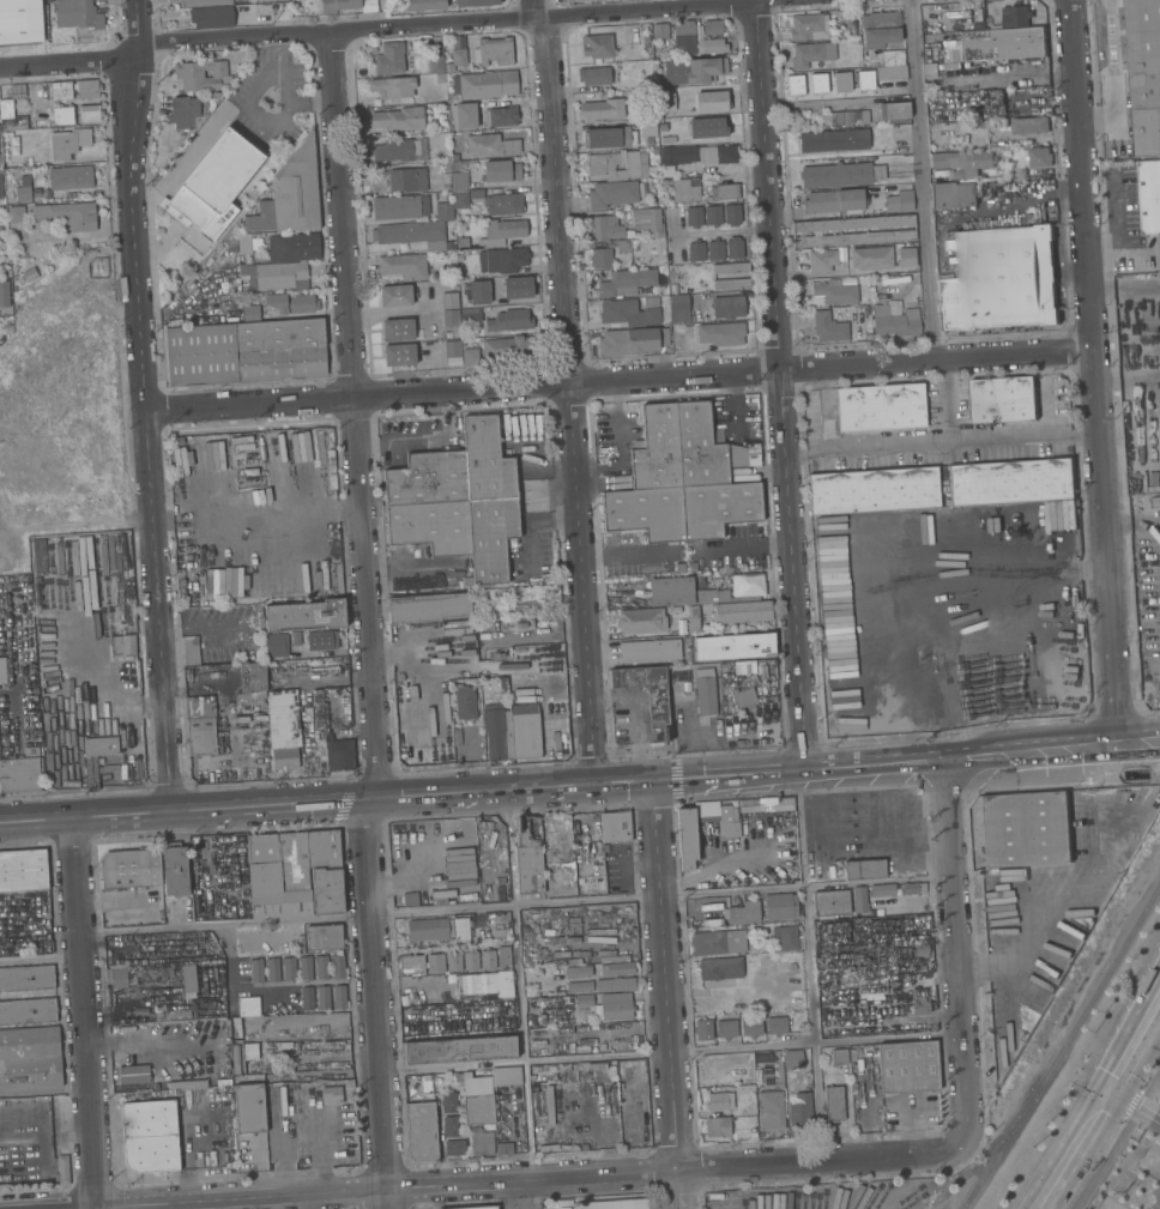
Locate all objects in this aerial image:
building: (574, 0)
building: (200, 2)
building: (475, 2)
building: (337, 5)
building: (424, 5)
building: (77, 14)
building: (1016, 16)
building: (211, 18)
building: (20, 22)
road: (379, 26)
building: (712, 28)
building: (808, 28)
building: (880, 29)
building: (660, 31)
building: (683, 40)
building: (645, 41)
building: (1004, 44)
building: (597, 47)
building: (711, 47)
building: (493, 52)
building: (811, 55)
building: (458, 58)
building: (893, 58)
building: (389, 59)
building: (435, 65)
building: (694, 71)
building: (890, 73)
road: (1114, 73)
building: (1144, 73)
building: (200, 75)
building: (593, 77)
building: (865, 80)
building: (841, 81)
building: (817, 84)
building: (484, 85)
building: (795, 85)
building: (392, 87)
building: (87, 90)
building: (61, 91)
building: (17, 92)
parking lot: (272, 95)
building: (712, 102)
building: (665, 103)
road: (809, 105)
building: (602, 109)
building: (183, 113)
building: (894, 113)
building: (89, 114)
building: (62, 116)
building: (463, 116)
building: (860, 116)
building: (11, 117)
building: (500, 117)
building: (836, 119)
building: (399, 120)
building: (1029, 126)
building: (648, 127)
building: (708, 128)
building: (443, 129)
building: (609, 138)
building: (667, 140)
building: (833, 141)
building: (66, 144)
building: (489, 146)
building: (400, 151)
building: (699, 156)
building: (453, 157)
building: (1039, 157)
building: (28, 162)
building: (965, 162)
building: (642, 164)
building: (612, 165)
building: (501, 171)
building: (840, 175)
building: (955, 175)
building: (71, 179)
building: (407, 180)
building: (445, 180)
building: (460, 180)
road: (919, 181)
building: (664, 183)
building: (0, 186)
building: (213, 186)
building: (23, 189)
building: (875, 189)
road: (555, 191)
building: (685, 191)
building: (723, 192)
building: (612, 194)
building: (290, 195)
building: (954, 195)
building: (1149, 197)
building: (465, 198)
building: (833, 201)
building: (899, 202)
building: (503, 205)
building: (399, 207)
building: (443, 211)
building: (16, 214)
building: (68, 216)
road: (342, 216)
building: (713, 216)
building: (732, 216)
building: (694, 217)
building: (648, 220)
building: (852, 224)
building: (605, 229)
building: (501, 232)
building: (413, 236)
building: (853, 238)
building: (246, 242)
building: (622, 246)
building: (294, 248)
building: (735, 248)
building: (714, 250)
building: (696, 252)
building: (871, 258)
building: (906, 258)
building: (600, 259)
building: (501, 261)
building: (821, 261)
building: (404, 266)
building: (730, 268)
building: (30, 274)
building: (279, 276)
building: (895, 279)
building: (999, 279)
building: (626, 283)
building: (730, 284)
building: (516, 288)
building: (835, 292)
building: (4, 294)
building: (478, 294)
building: (395, 296)
building: (448, 301)
building: (651, 302)
building: (291, 303)
building: (727, 307)
building: (679, 310)
building: (250, 313)
building: (469, 314)
building: (628, 314)
building: (451, 319)
building: (8, 320)
building: (509, 321)
building: (895, 322)
building: (828, 327)
building: (8, 328)
building: (397, 330)
building: (721, 334)
building: (632, 341)
building: (508, 349)
building: (452, 350)
building: (244, 352)
building: (399, 355)
building: (470, 357)
road: (1092, 374)
road: (618, 381)
road: (779, 387)
building: (1004, 400)
road: (146, 406)
building: (880, 409)
road: (960, 441)
building: (679, 480)
building: (1011, 482)
building: (874, 491)
building: (458, 501)
road: (280, 509)
road: (744, 544)
road: (624, 552)
building: (694, 566)
building: (681, 567)
road: (584, 585)
building: (748, 590)
building: (667, 592)
building: (614, 604)
building: (428, 607)
building: (701, 607)
building: (742, 612)
building: (306, 616)
building: (693, 619)
building: (640, 621)
road: (201, 629)
building: (295, 639)
building: (321, 640)
building: (121, 645)
building: (276, 645)
building: (733, 647)
building: (191, 651)
building: (650, 652)
building: (724, 667)
building: (2, 672)
building: (252, 677)
building: (685, 687)
building: (705, 693)
building: (439, 694)
building: (249, 696)
building: (743, 700)
building: (464, 702)
building: (657, 709)
building: (200, 726)
building: (283, 730)
building: (497, 732)
building: (525, 732)
road: (1137, 746)
building: (339, 756)
building: (91, 774)
building: (19, 775)
road: (644, 782)
building: (761, 803)
road: (369, 804)
road: (86, 818)
building: (615, 827)
building: (729, 829)
building: (1026, 830)
building: (605, 848)
building: (527, 856)
building: (23, 870)
building: (131, 870)
building: (863, 870)
building: (175, 871)
building: (325, 872)
building: (292, 875)
building: (264, 876)
building: (912, 889)
building: (882, 890)
building: (410, 899)
building: (859, 901)
building: (830, 903)
building: (779, 906)
road: (515, 907)
building: (744, 913)
building: (428, 930)
building: (460, 932)
building: (497, 933)
building: (324, 938)
building: (784, 938)
building: (718, 943)
building: (920, 950)
road: (954, 953)
road: (41, 959)
building: (503, 959)
building: (488, 960)
building: (470, 961)
building: (453, 962)
building: (435, 963)
building: (410, 965)
road: (809, 966)
building: (337, 967)
building: (304, 968)
building: (320, 968)
building: (719, 968)
building: (288, 969)
building: (616, 969)
building: (255, 971)
building: (272, 971)
building: (578, 972)
building: (167, 975)
building: (117, 978)
building: (26, 979)
building: (485, 984)
building: (615, 984)
road: (519, 985)
building: (578, 987)
road: (665, 995)
building: (338, 997)
building: (322, 998)
building: (306, 999)
building: (584, 1001)
building: (248, 1007)
building: (614, 1008)
building: (919, 1009)
building: (28, 1011)
road: (85, 1014)
building: (775, 1026)
building: (750, 1027)
building: (726, 1029)
building: (702, 1030)
road: (1131, 1039)
railway: (1061, 1040)
building: (328, 1045)
building: (459, 1050)
building: (250, 1052)
road: (671, 1052)
building: (839, 1057)
building: (30, 1058)
building: (235, 1059)
building: (792, 1059)
building: (906, 1066)
building: (506, 1076)
building: (457, 1077)
building: (128, 1078)
building: (31, 1093)
building: (331, 1095)
building: (769, 1096)
building: (717, 1101)
building: (448, 1102)
building: (833, 1104)
road: (1130, 1107)
building: (249, 1110)
building: (479, 1110)
building: (800, 1111)
building: (422, 1126)
building: (449, 1126)
building: (717, 1126)
building: (149, 1136)
building: (481, 1143)
building: (454, 1148)
building: (503, 1149)
road: (1067, 1149)
building: (61, 1171)
road: (530, 1180)
building: (614, 1204)
parking lot: (1153, 1204)
building: (489, 1208)

